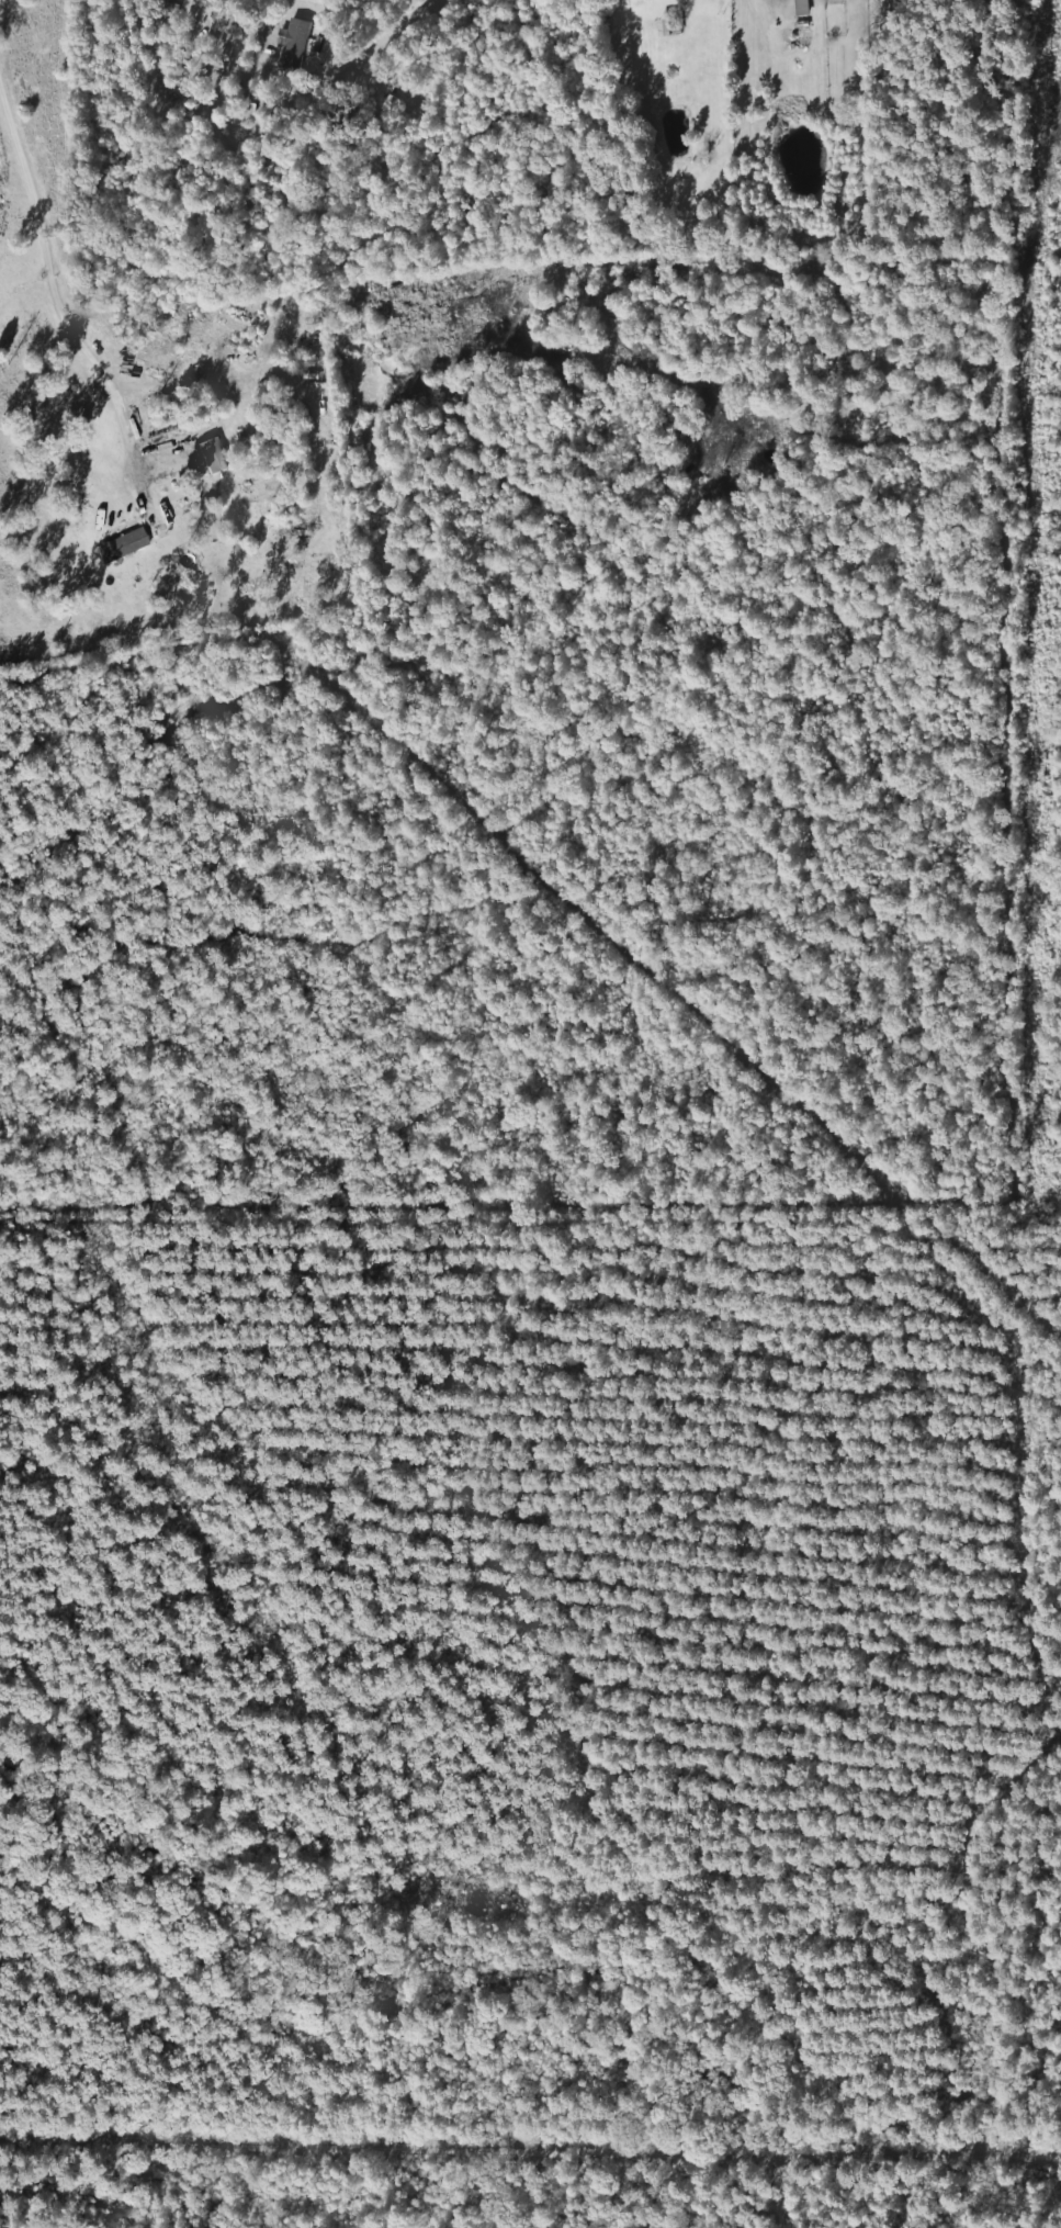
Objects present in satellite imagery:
building: (794, 8)
road: (217, 20)
building: (668, 26)
building: (304, 60)
road: (61, 273)
building: (211, 455)
building: (121, 547)
road: (530, 2137)
road: (757, 2183)

